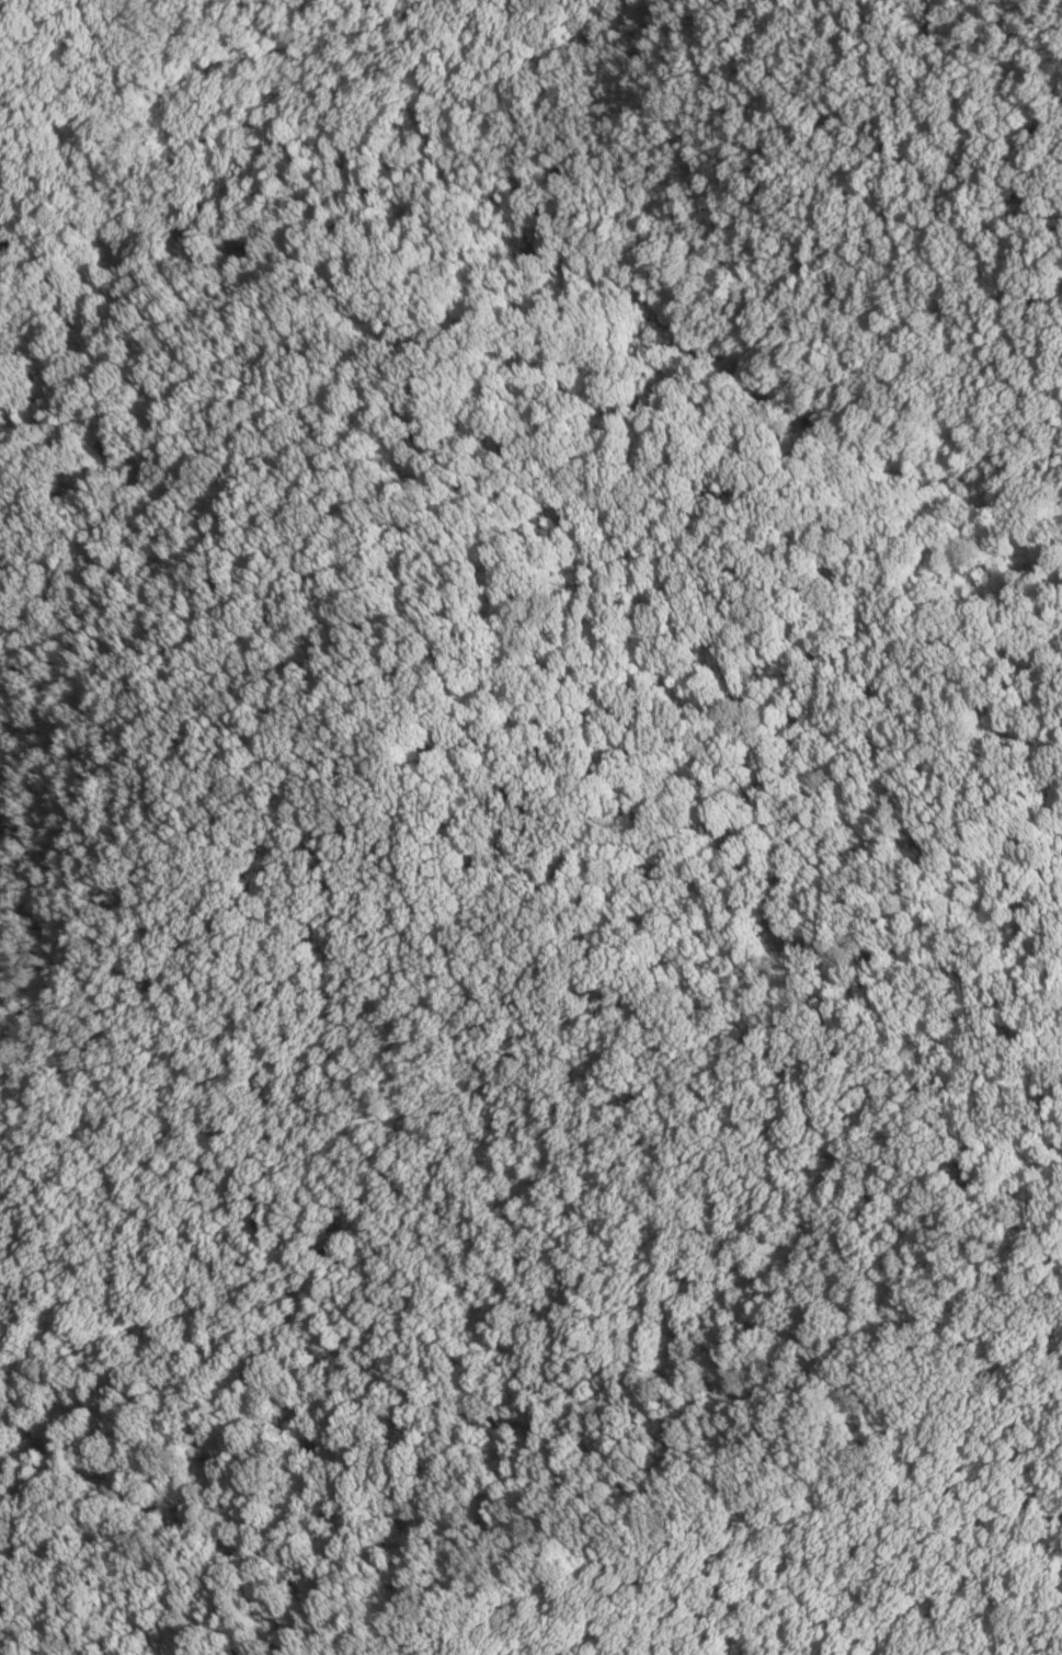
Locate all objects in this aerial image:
road: (144, 165)

